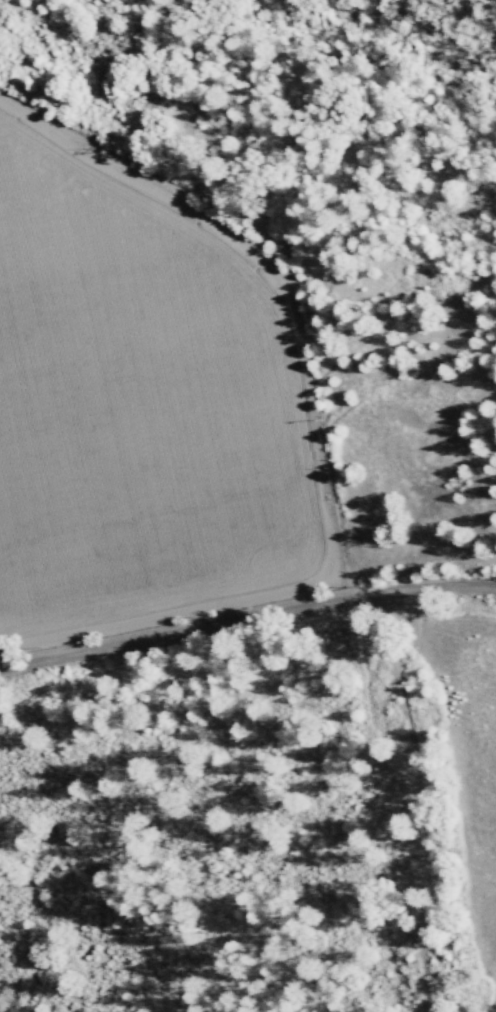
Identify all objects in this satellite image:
road: (247, 618)
road: (416, 800)

